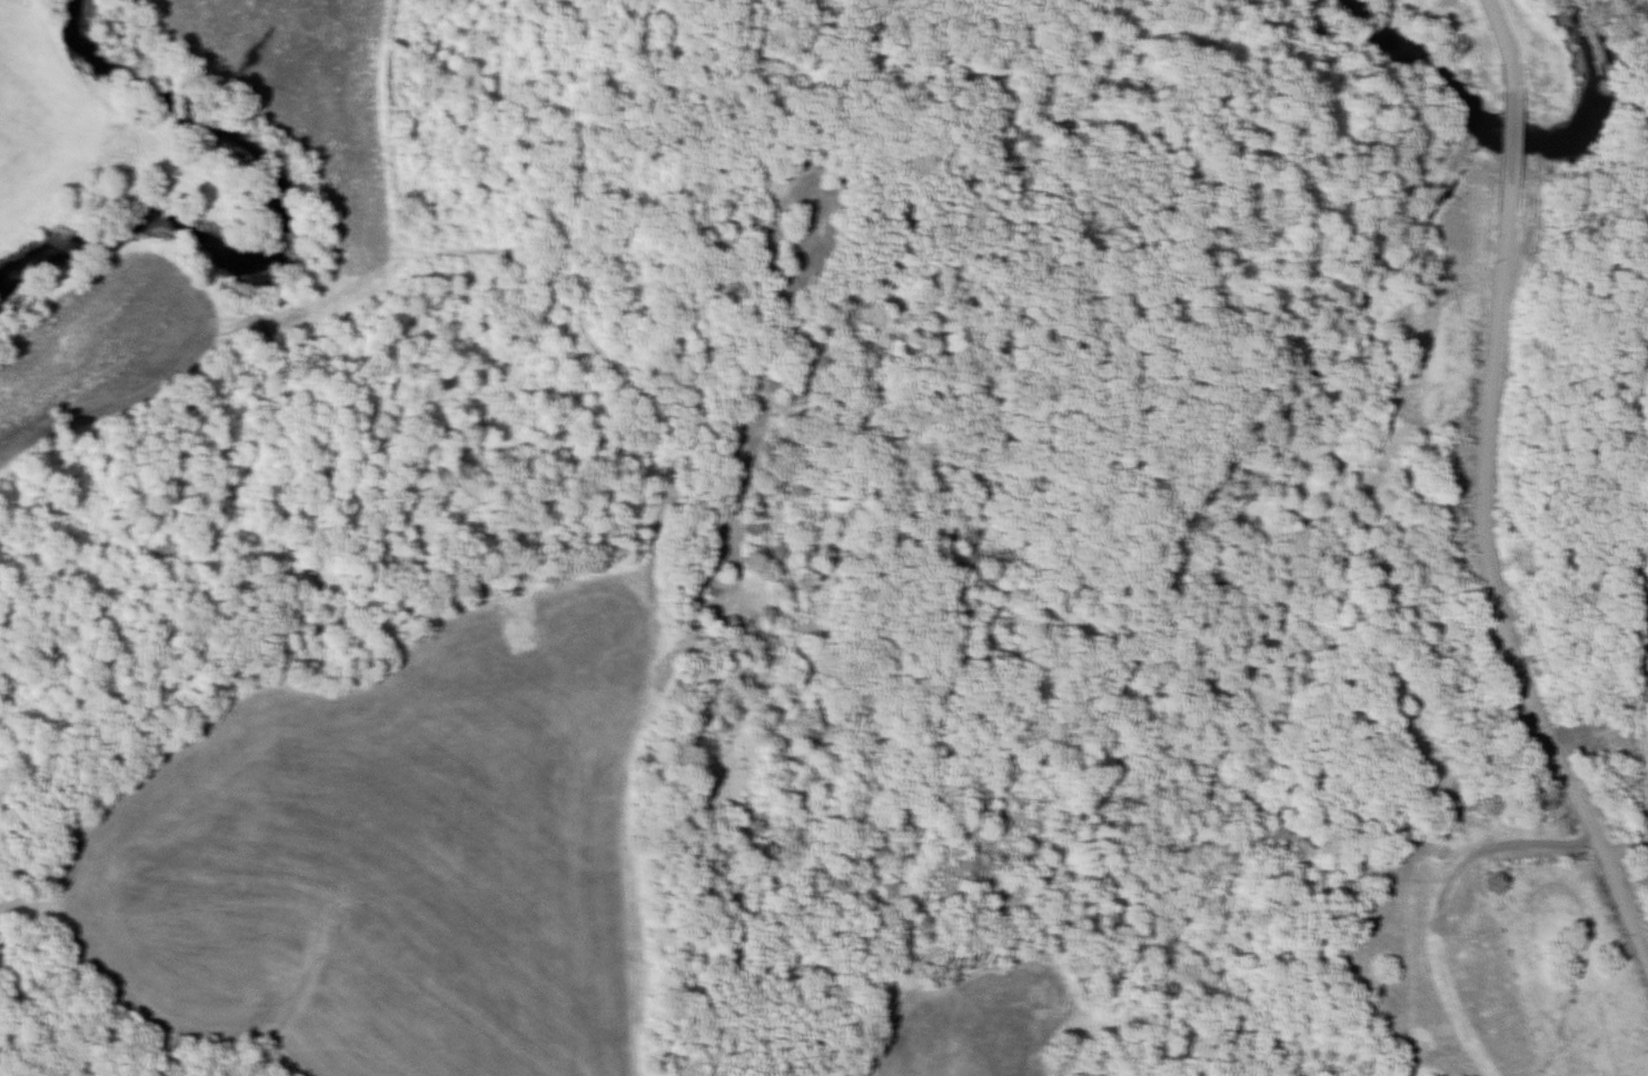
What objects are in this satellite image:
road: (1476, 494)

